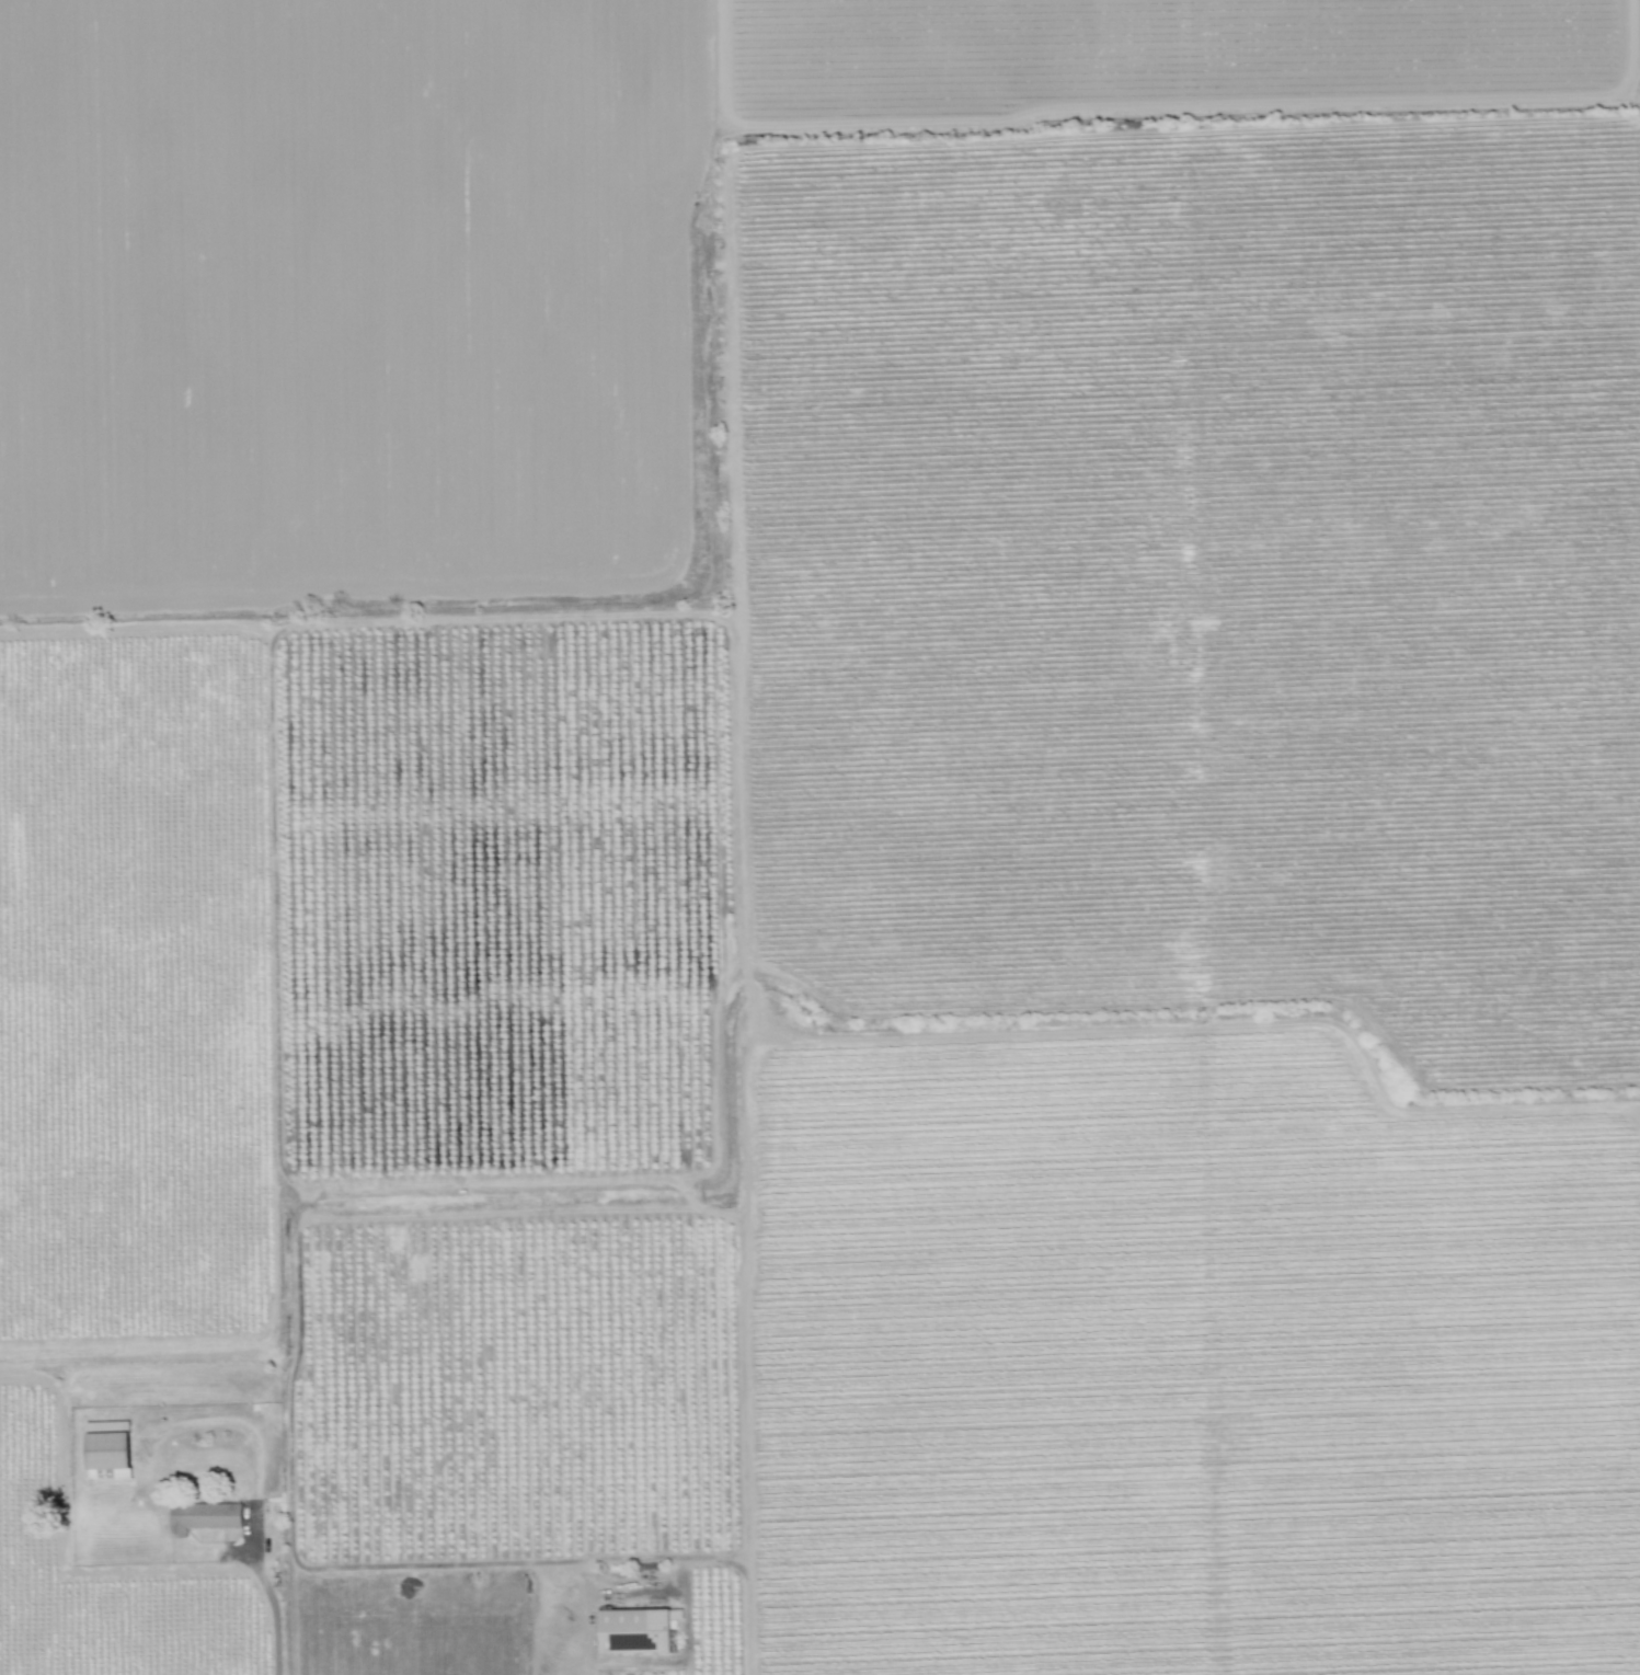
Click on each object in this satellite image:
building: (107, 1450)
building: (203, 1517)
road: (269, 1610)
building: (635, 1630)

